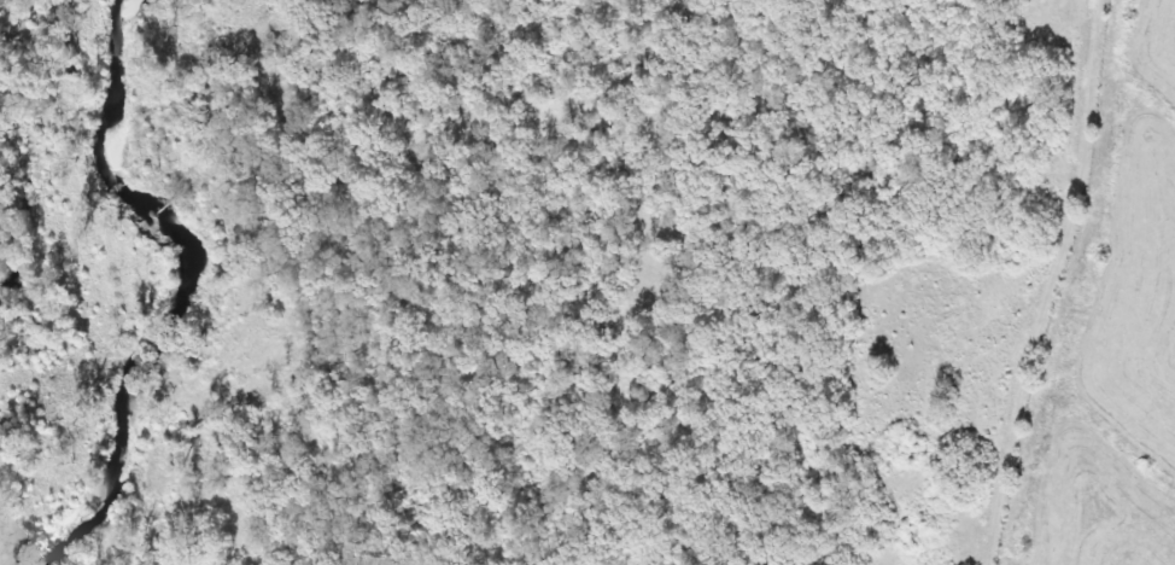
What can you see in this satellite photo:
road: (1070, 286)

